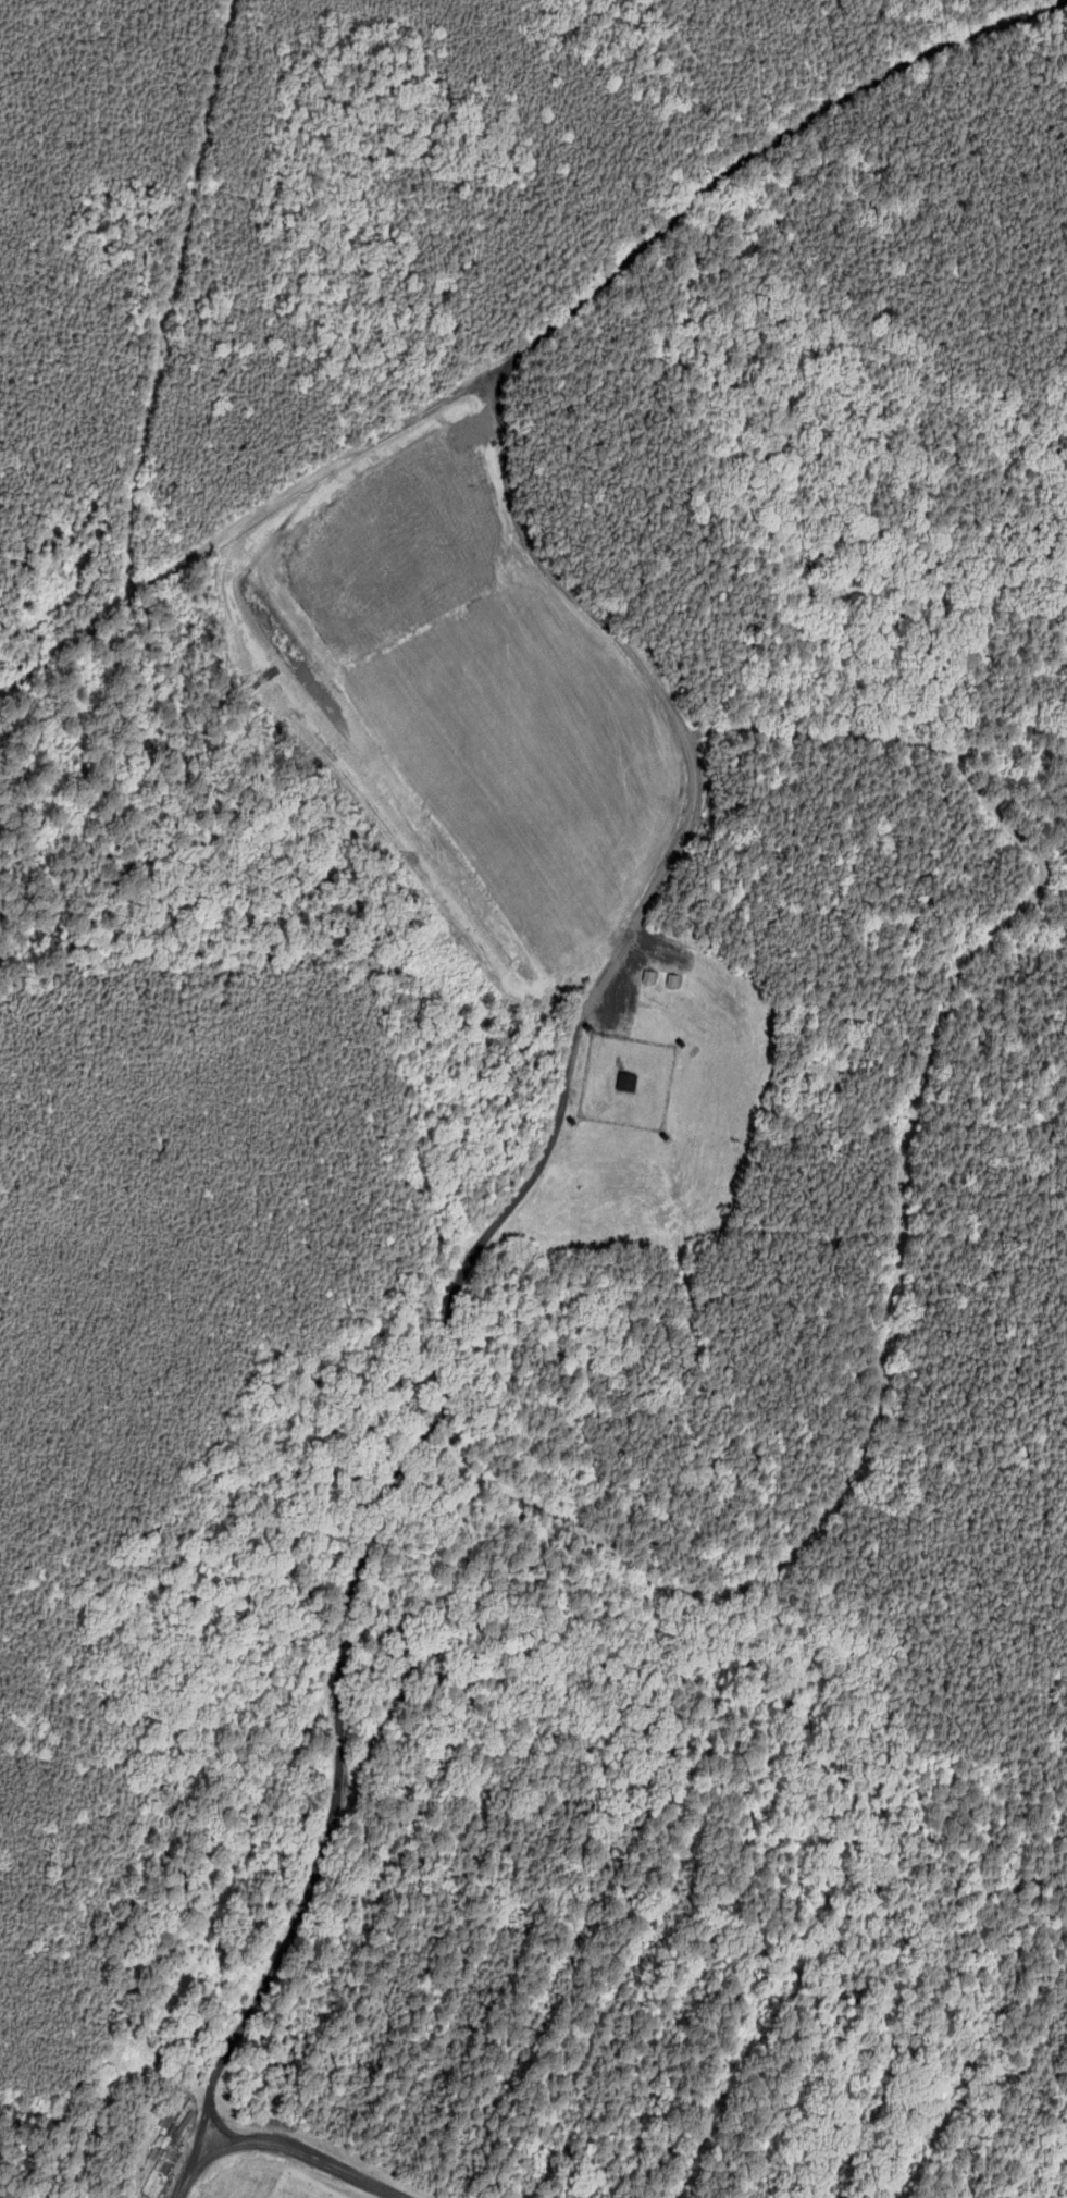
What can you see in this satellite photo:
road: (176, 298)
road: (532, 338)
building: (624, 1082)
road: (276, 2145)

